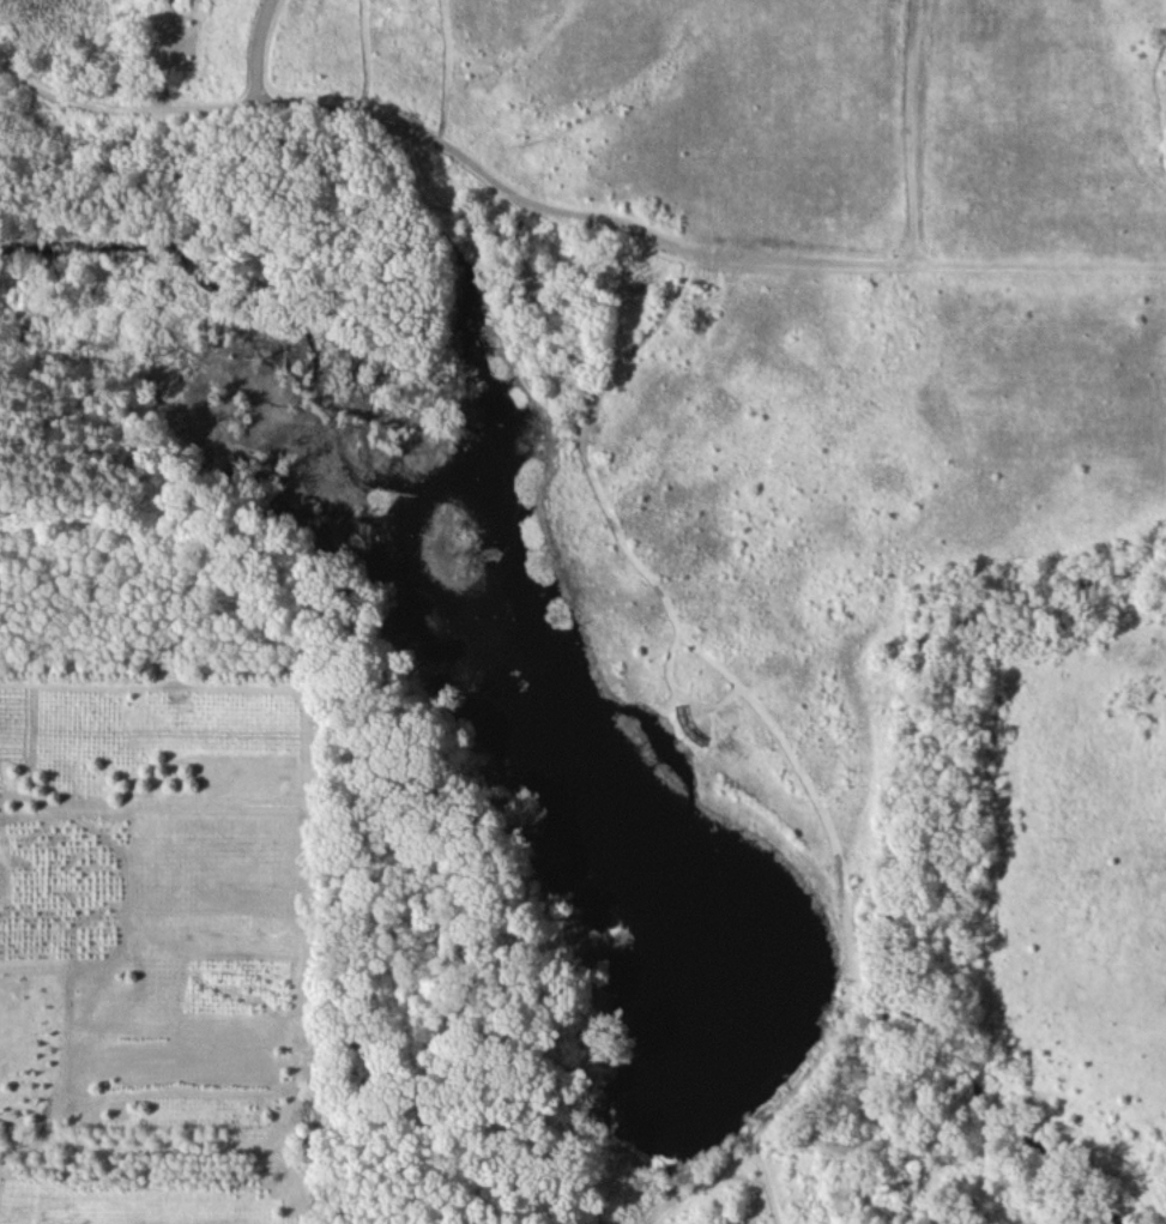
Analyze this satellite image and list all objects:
road: (249, 49)
road: (115, 107)
road: (911, 258)

